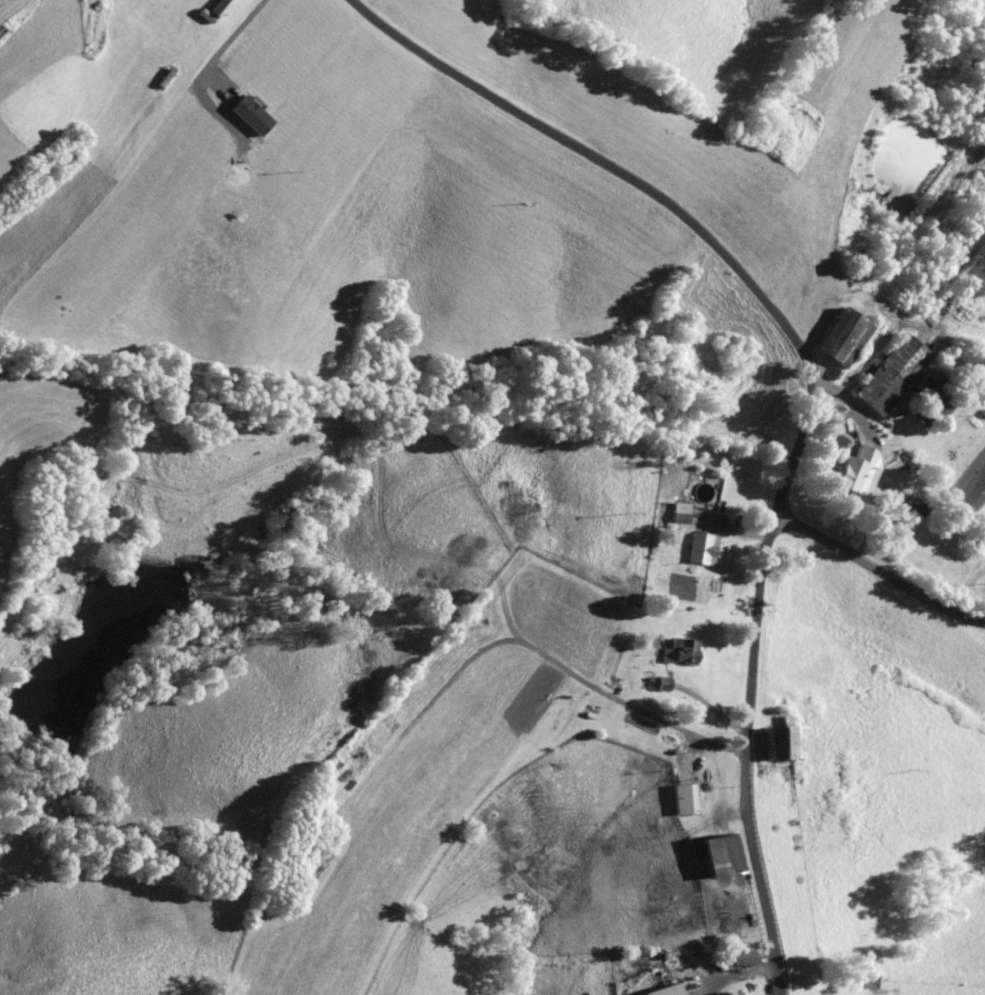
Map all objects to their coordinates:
building: (217, 7)
road: (231, 37)
building: (247, 114)
building: (837, 338)
building: (887, 374)
road: (811, 389)
building: (855, 471)
building: (677, 515)
building: (699, 548)
road: (879, 572)
building: (679, 651)
building: (773, 741)
building: (683, 799)
building: (714, 855)
building: (738, 958)
park: (869, 980)
building: (660, 990)

